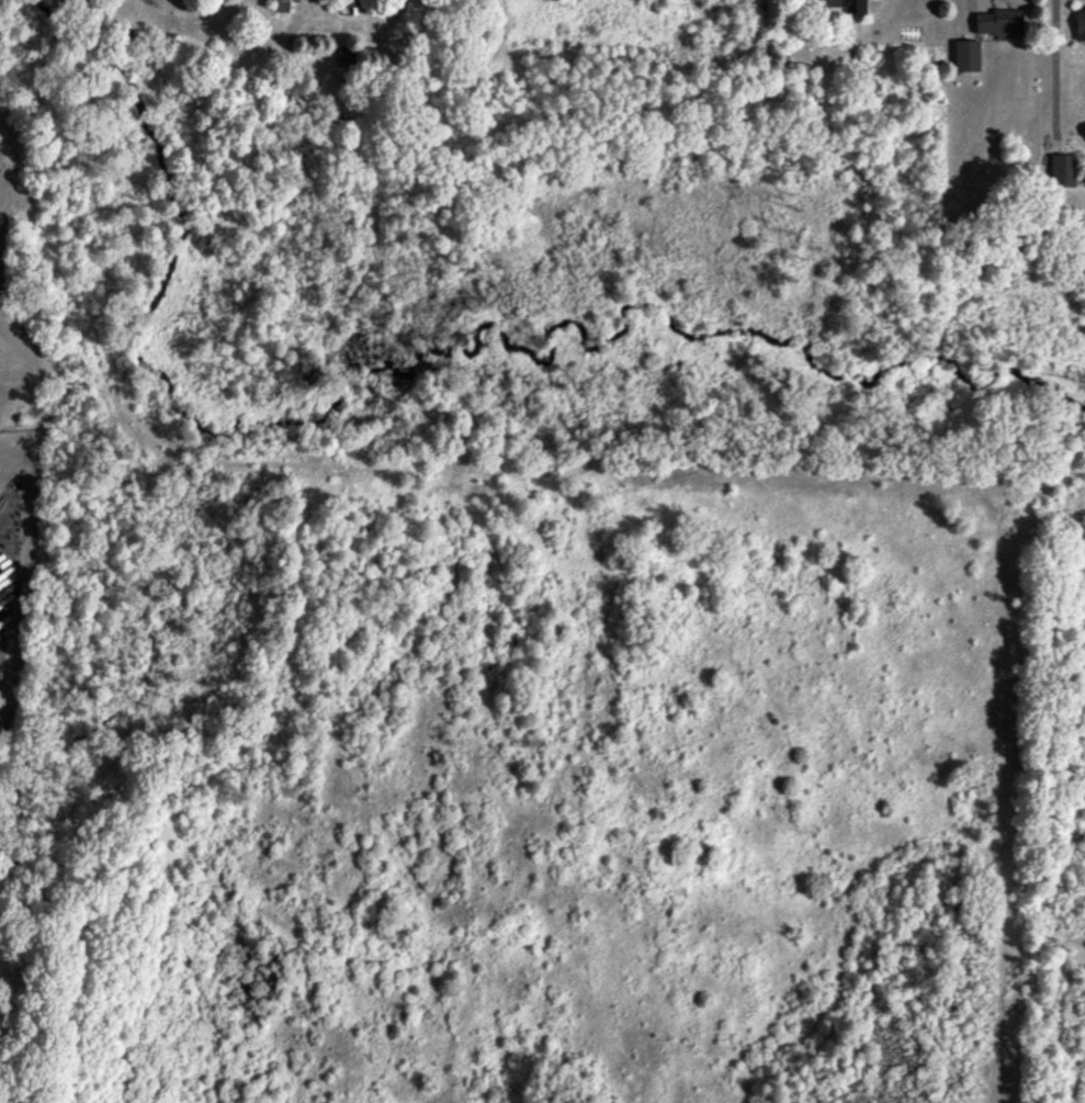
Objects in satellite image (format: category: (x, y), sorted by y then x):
building: (348, 2)
building: (843, 4)
road: (984, 4)
building: (281, 5)
building: (998, 22)
building: (1080, 24)
building: (965, 55)
building: (343, 56)
road: (1054, 75)
building: (1063, 169)

